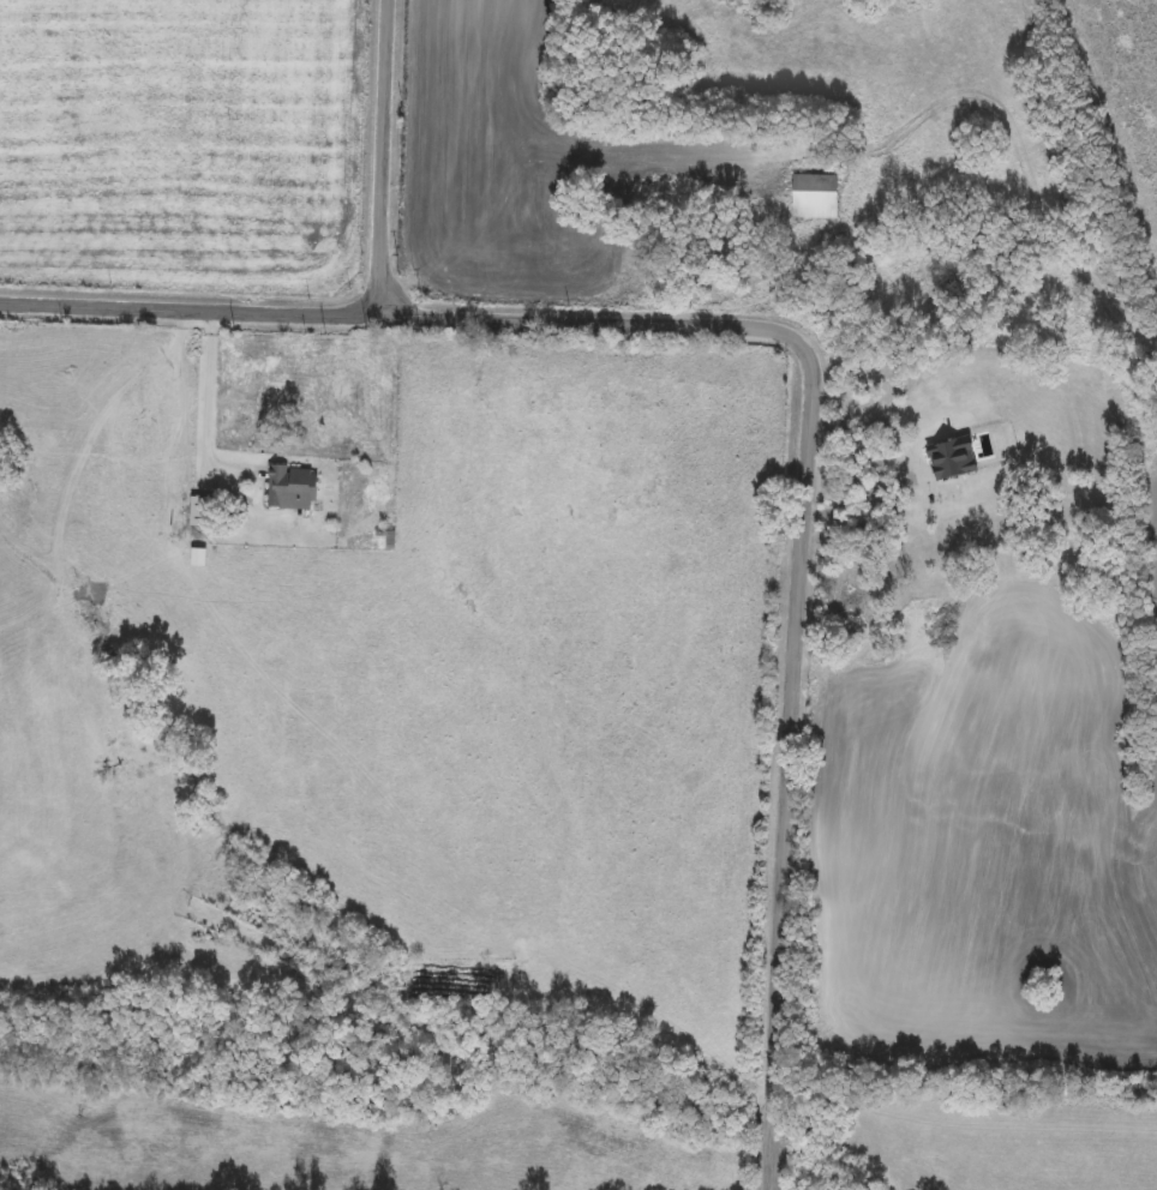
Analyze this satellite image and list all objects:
road: (382, 157)
building: (815, 197)
road: (188, 307)
road: (206, 396)
building: (292, 489)
road: (857, 501)
road: (801, 555)

